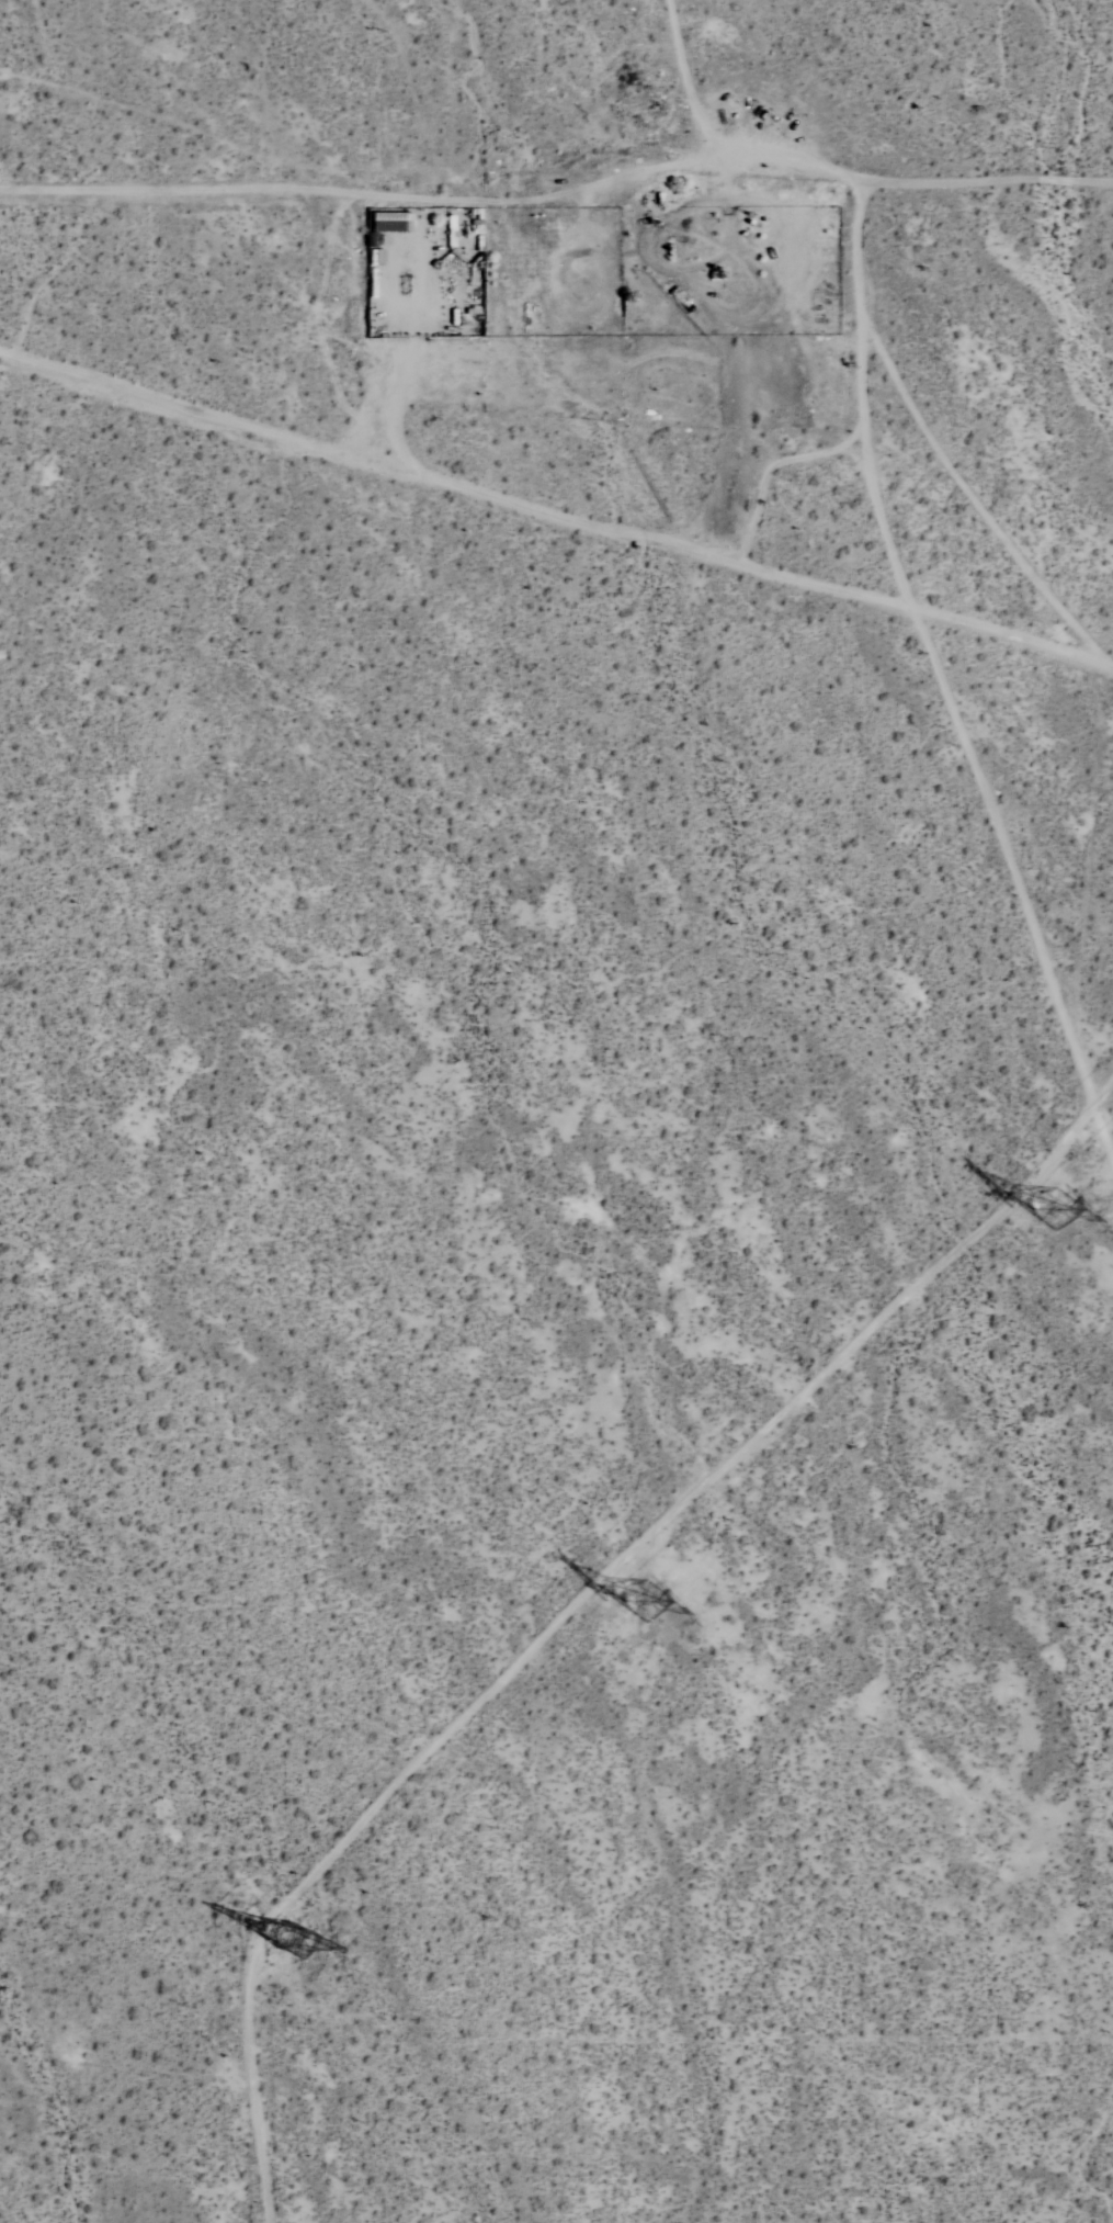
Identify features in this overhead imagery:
road: (560, 190)
road: (557, 515)
power tower: (1053, 1211)
power tower: (640, 1595)
power tower: (288, 1933)

